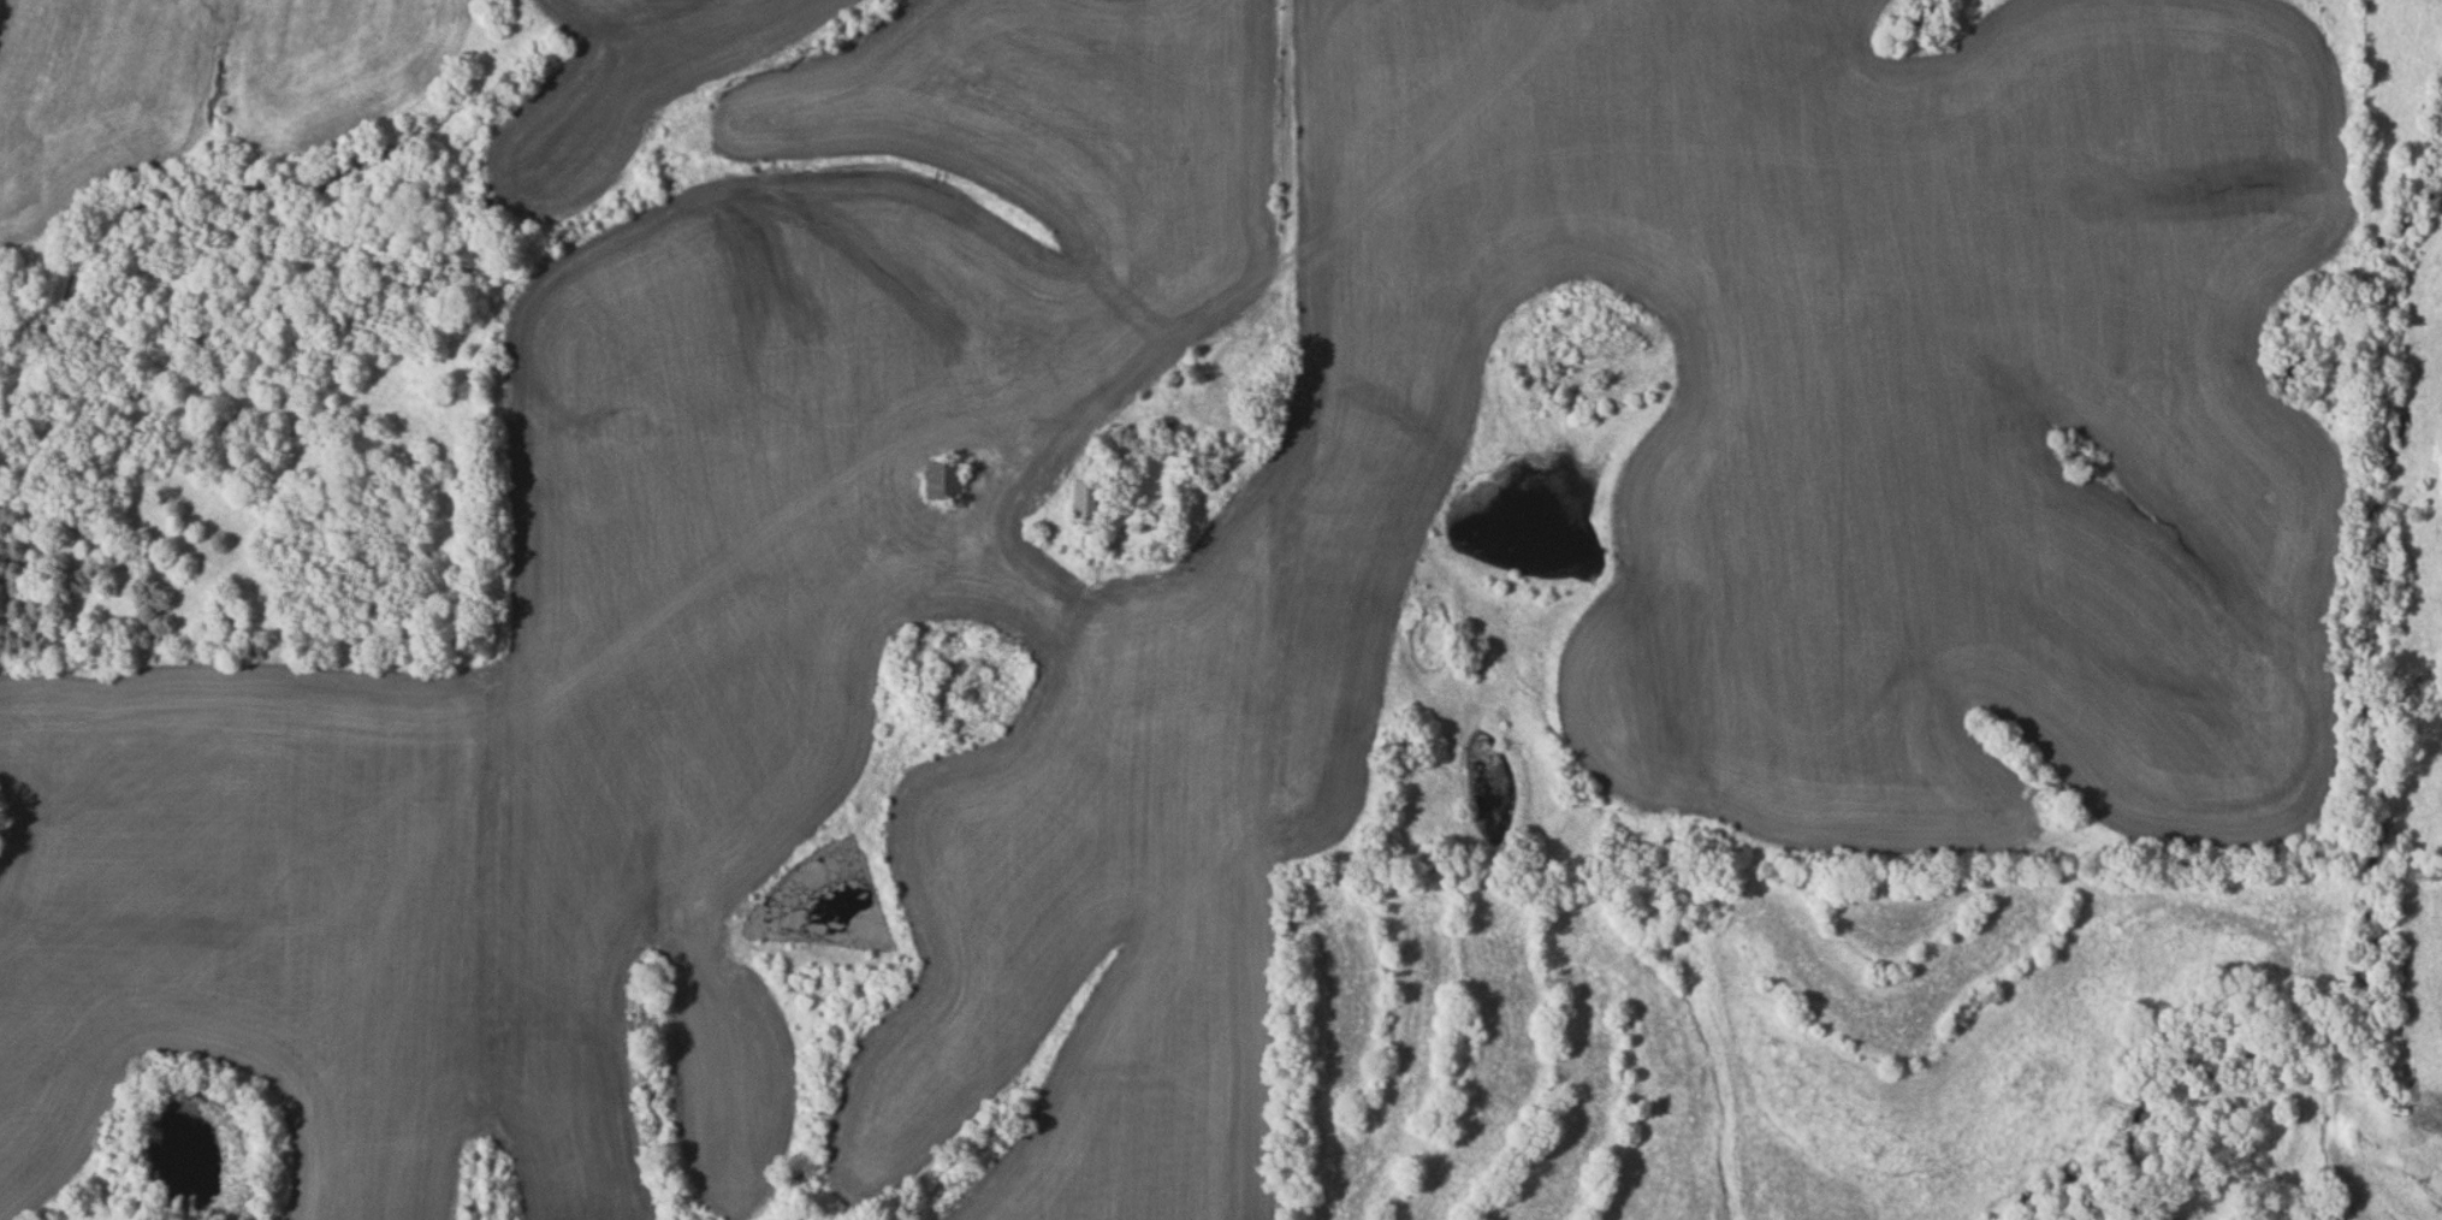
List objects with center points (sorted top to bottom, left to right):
road: (1367, 207)
road: (1290, 219)
road: (1286, 324)
building: (1262, 433)
building: (1209, 463)
building: (946, 482)
building: (1087, 499)
road: (1219, 839)

